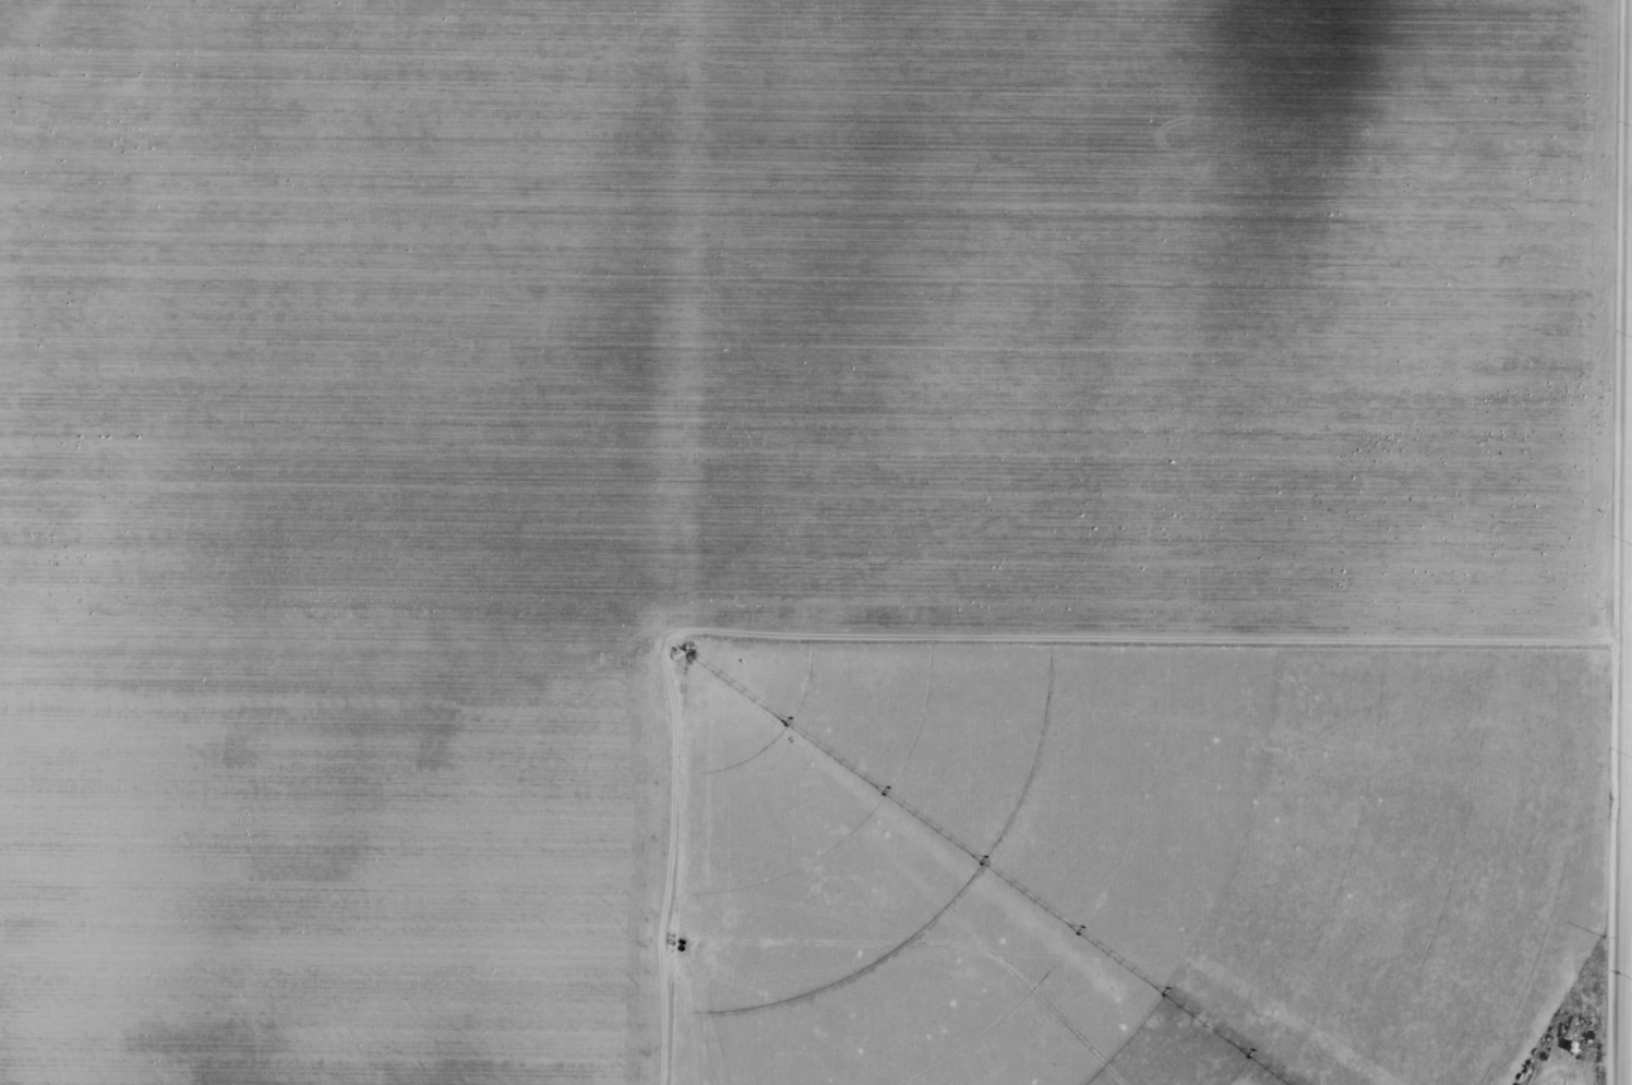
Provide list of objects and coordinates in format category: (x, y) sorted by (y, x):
road: (1622, 542)

